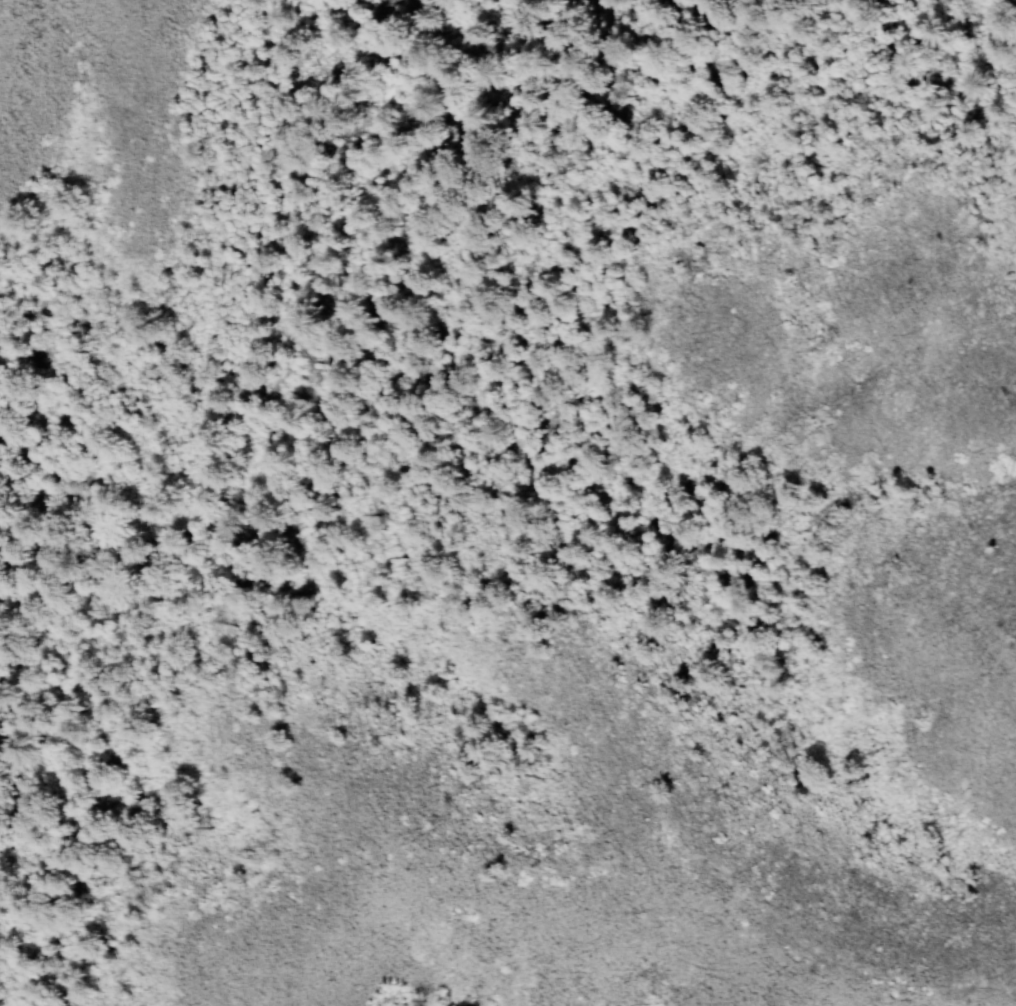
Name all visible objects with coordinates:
road: (530, 632)

